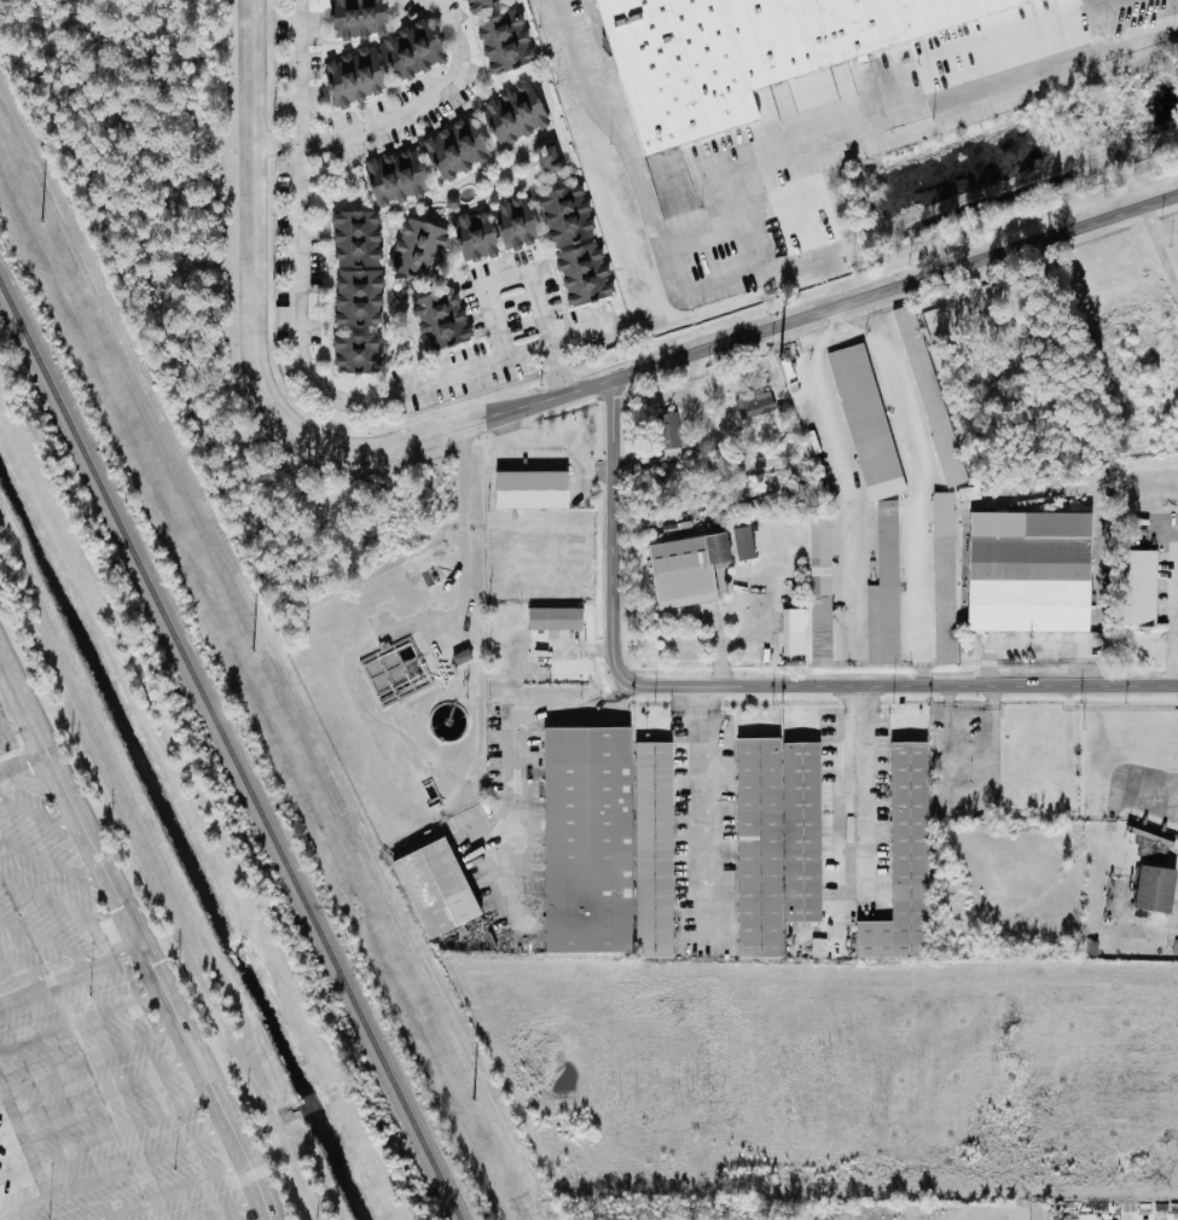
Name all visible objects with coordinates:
building: (478, 5)
building: (359, 18)
building: (506, 43)
building: (745, 51)
building: (413, 52)
building: (358, 79)
road: (298, 94)
road: (425, 106)
road: (916, 109)
building: (516, 120)
building: (458, 150)
building: (551, 161)
road: (633, 163)
building: (399, 178)
power tower: (40, 223)
building: (477, 236)
building: (576, 245)
road: (1160, 246)
building: (419, 248)
road: (250, 255)
building: (359, 268)
road: (506, 279)
building: (442, 319)
road: (764, 327)
road: (575, 330)
building: (359, 353)
building: (929, 396)
road: (336, 401)
building: (754, 405)
building: (866, 422)
building: (669, 436)
road: (555, 448)
building: (532, 490)
road: (617, 531)
building: (820, 541)
road: (464, 542)
building: (744, 542)
building: (680, 569)
building: (1028, 573)
building: (942, 579)
building: (1138, 587)
building: (884, 591)
road: (1177, 614)
building: (555, 618)
building: (820, 622)
building: (793, 637)
road: (729, 641)
road: (1035, 643)
power tower: (251, 655)
building: (462, 656)
road: (942, 664)
road: (5, 680)
road: (893, 686)
road: (866, 687)
road: (695, 701)
road: (14, 725)
railway: (228, 754)
road: (23, 761)
road: (524, 769)
road: (865, 798)
road: (40, 817)
road: (700, 823)
building: (586, 841)
building: (776, 841)
building: (1149, 844)
building: (652, 850)
building: (903, 861)
road: (57, 862)
road: (505, 885)
building: (435, 888)
building: (1154, 888)
road: (69, 907)
road: (505, 926)
road: (138, 936)
road: (51, 943)
road: (27, 972)
road: (71, 978)
road: (4, 1001)
road: (81, 1019)
road: (89, 1055)
road: (98, 1094)
power tower: (471, 1103)
road: (106, 1133)
road: (115, 1172)
road: (174, 1191)
road: (233, 1208)

